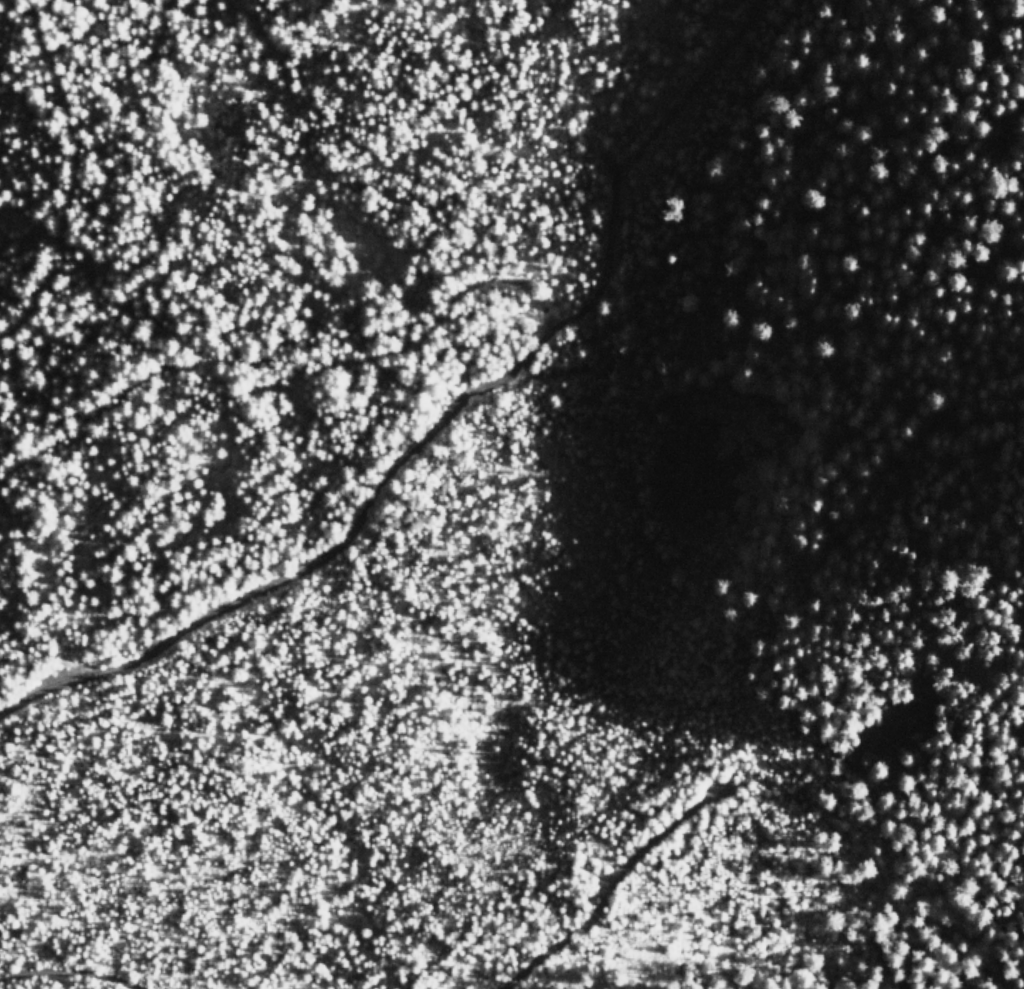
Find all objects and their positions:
road: (281, 588)

